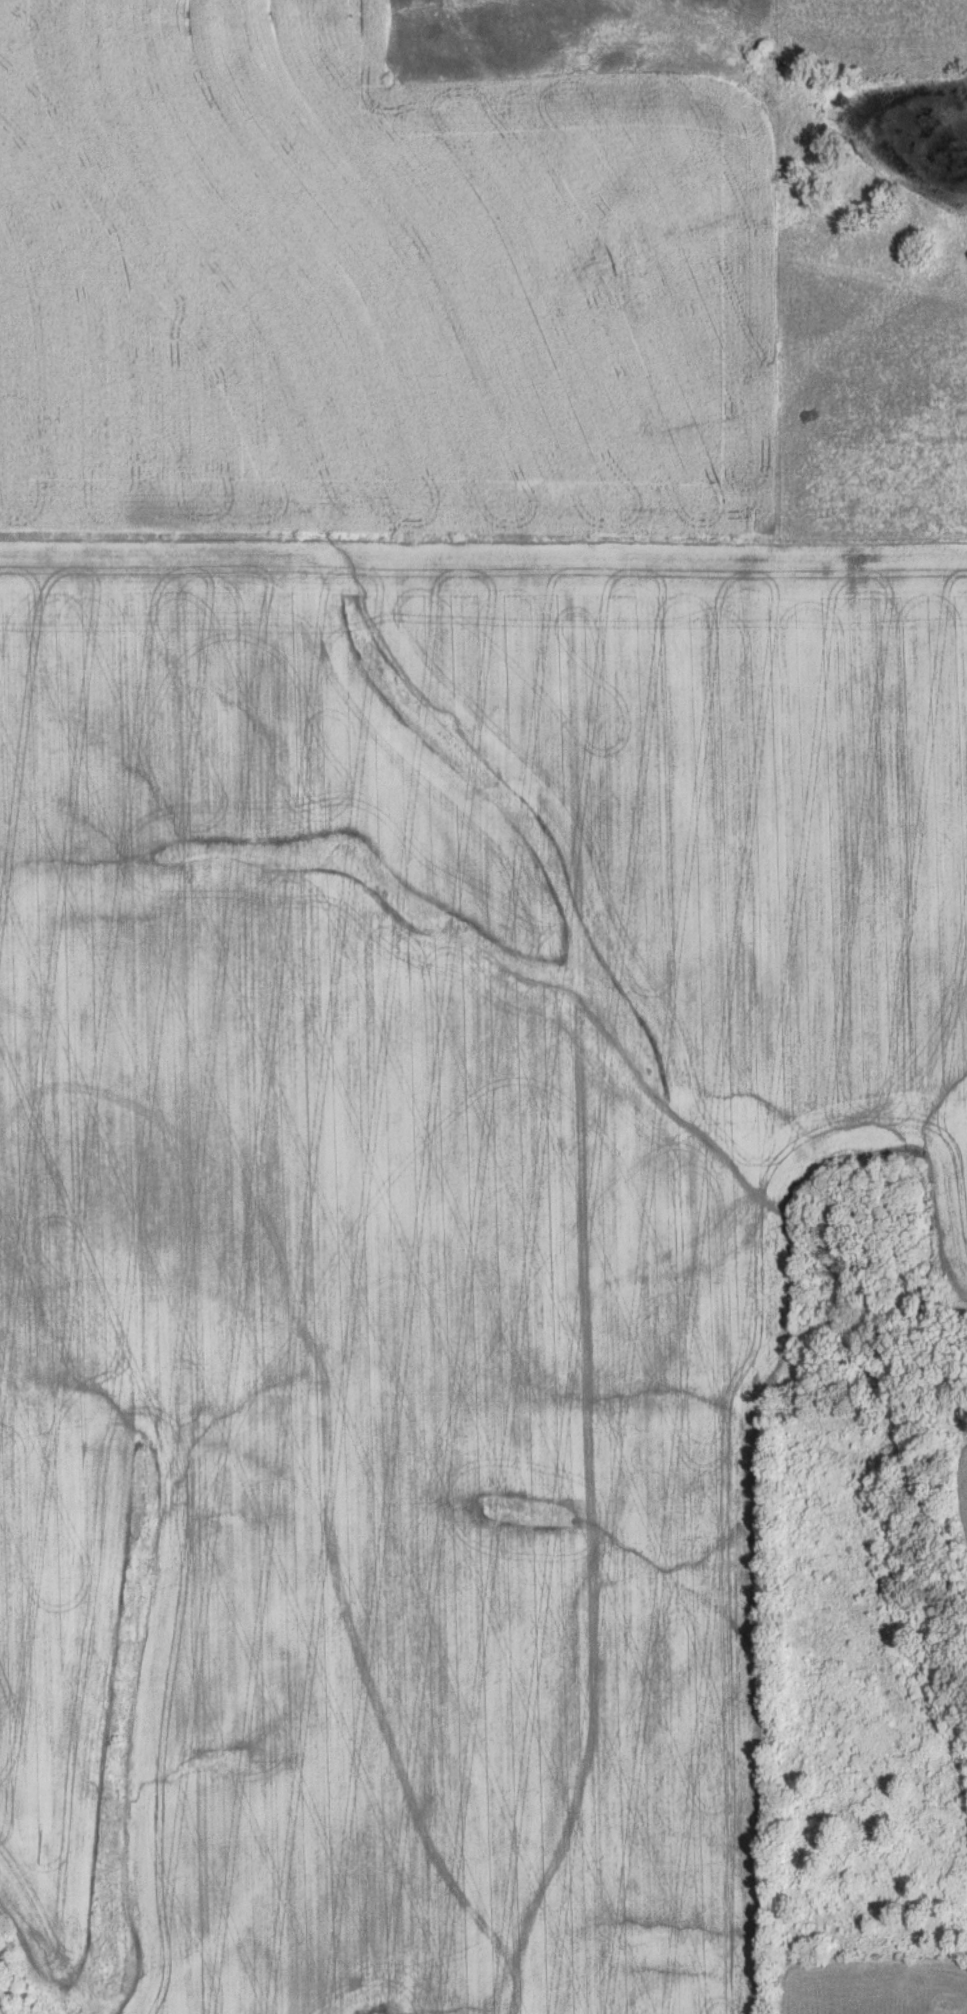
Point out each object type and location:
crop: (370, 285)

